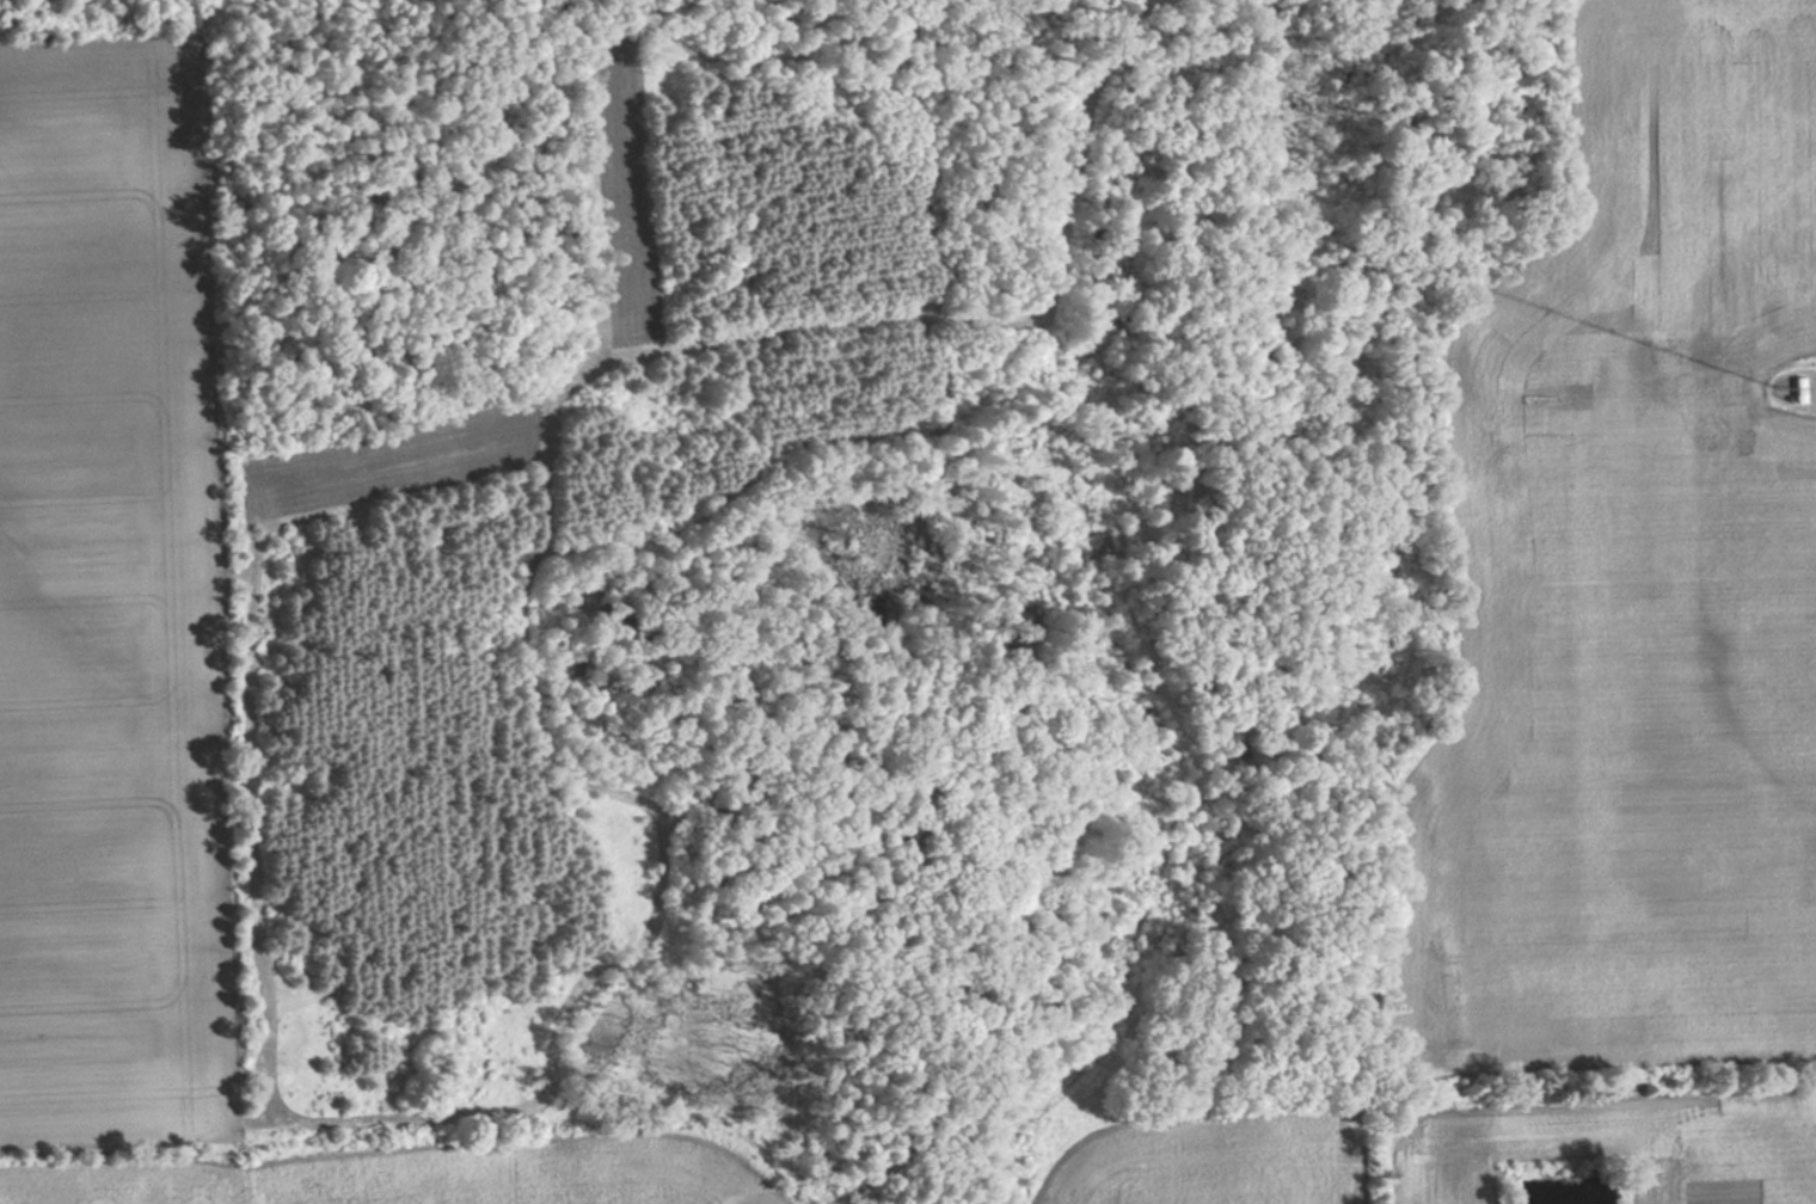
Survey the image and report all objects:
building: (1797, 389)

